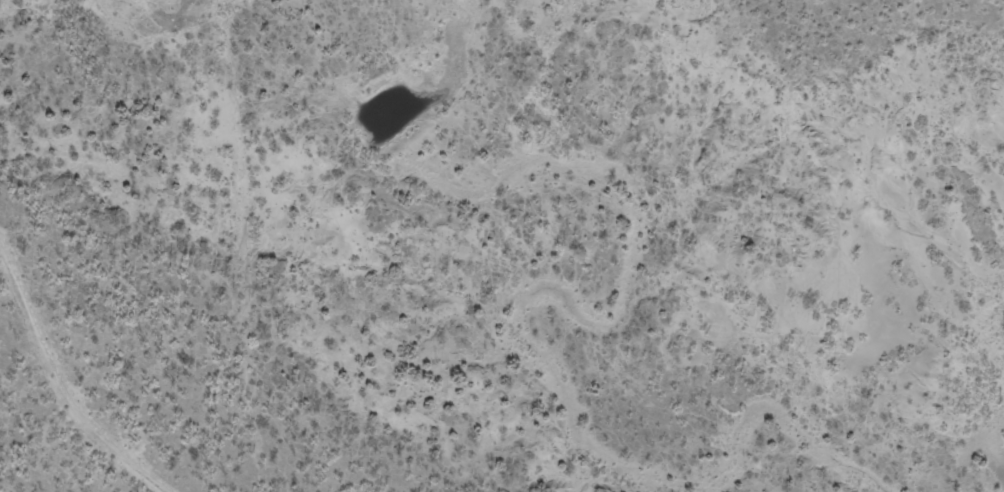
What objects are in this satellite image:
road: (75, 397)

